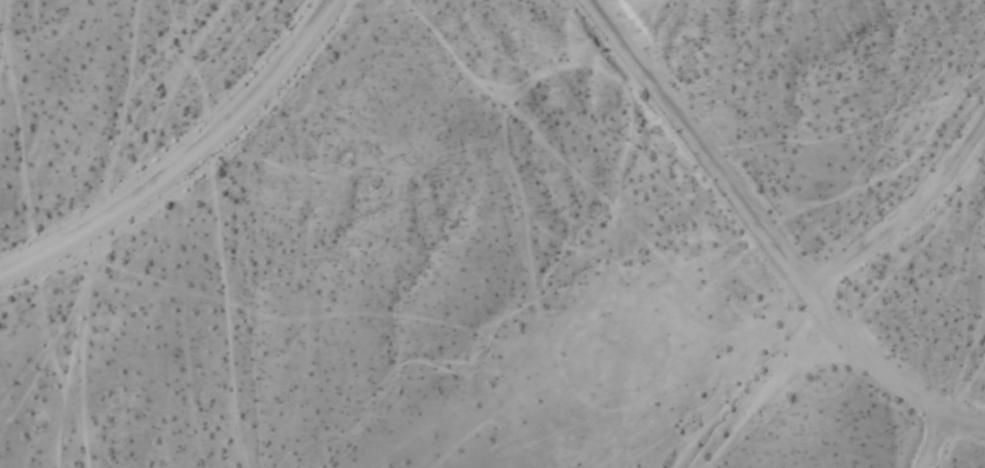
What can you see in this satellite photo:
road: (187, 161)
road: (907, 216)
road: (770, 238)
road: (934, 444)

